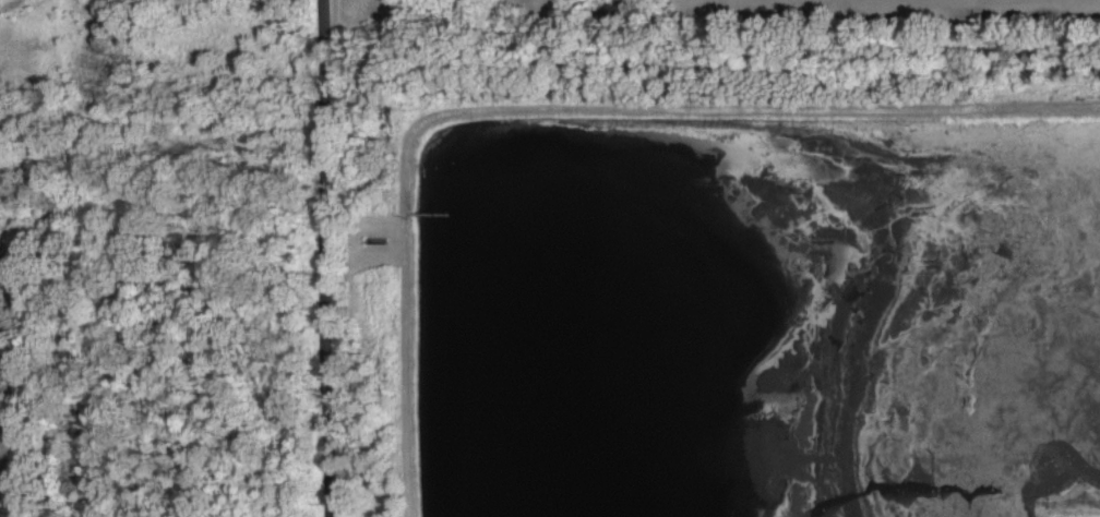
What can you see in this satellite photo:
road: (323, 258)

